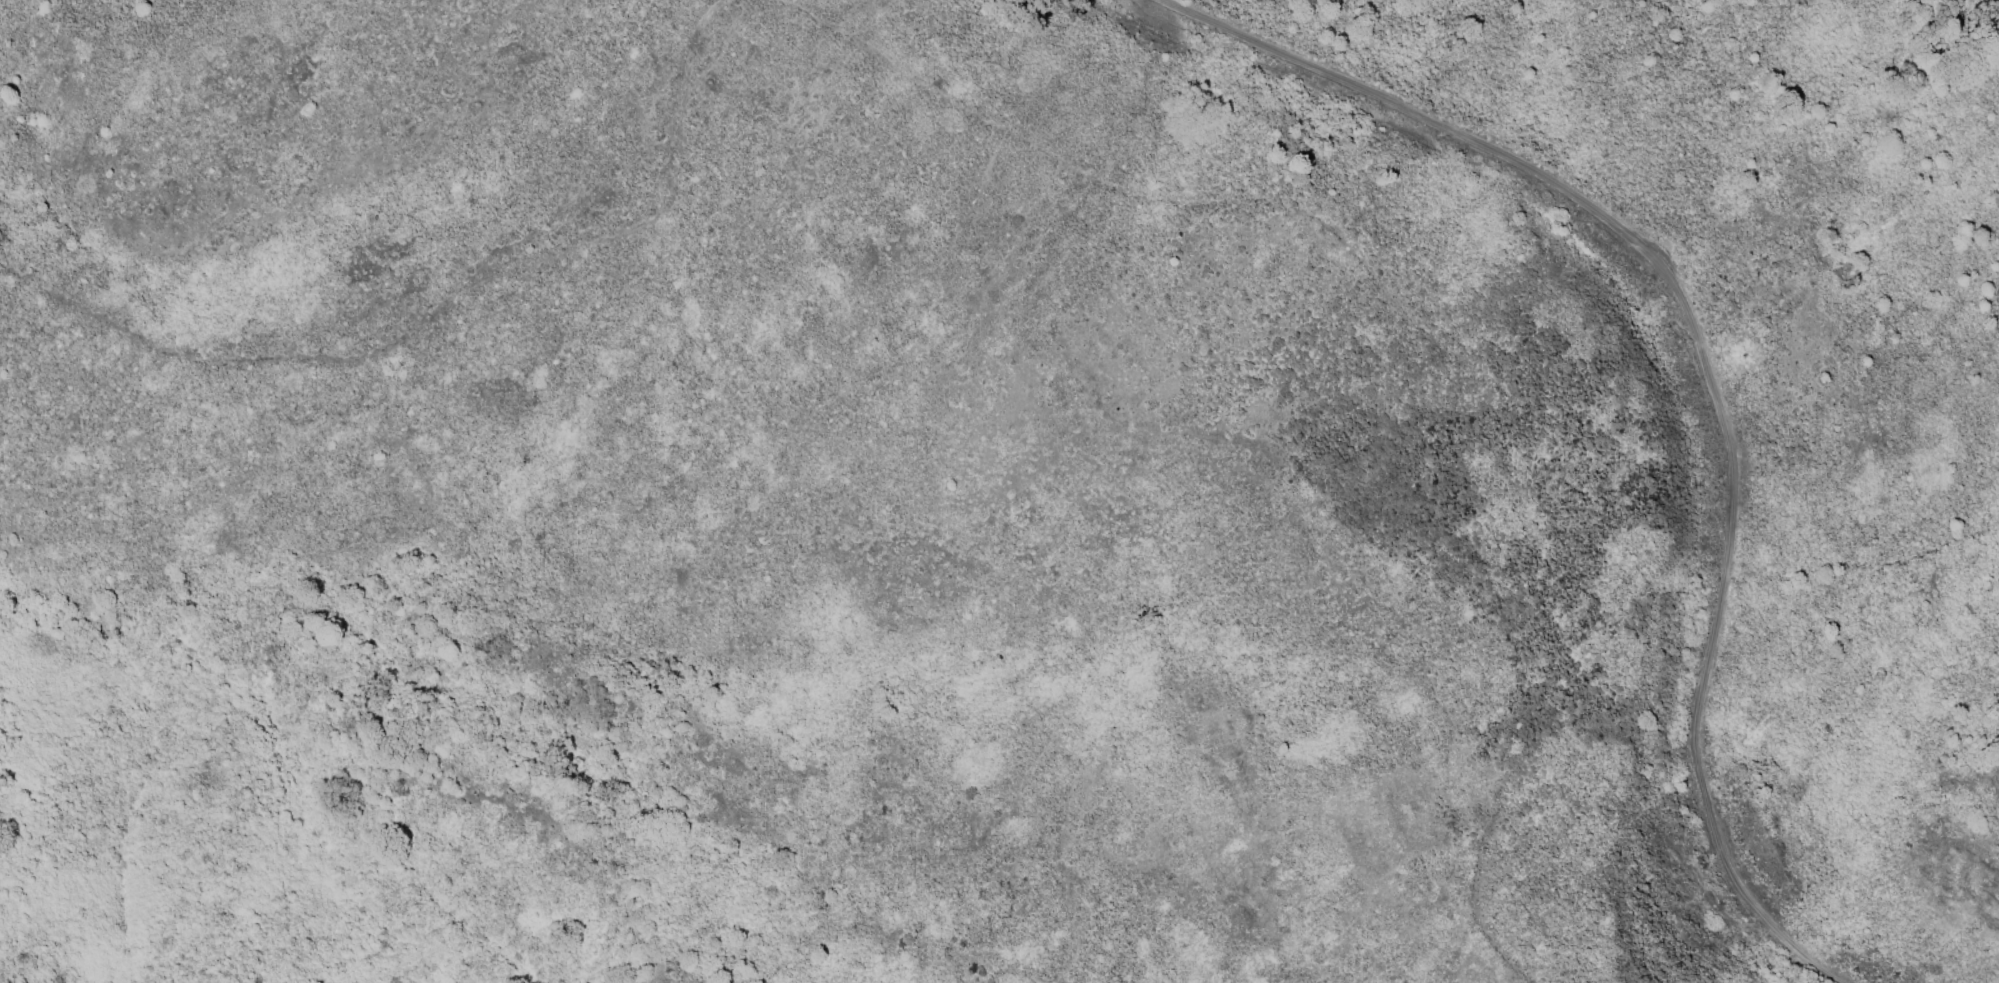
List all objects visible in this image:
road: (1169, 4)
road: (1708, 375)

